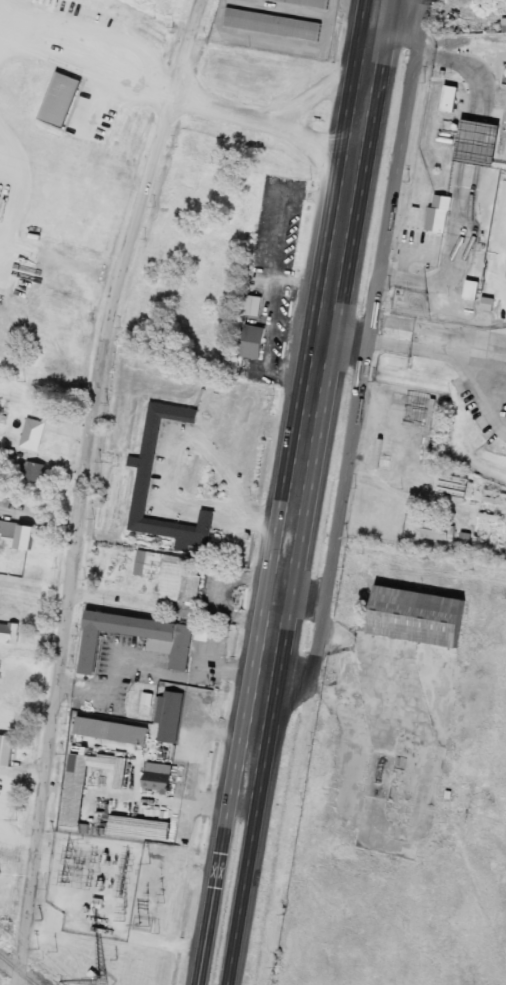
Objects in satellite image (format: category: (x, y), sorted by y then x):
building: (307, 3)
building: (272, 25)
building: (448, 99)
building: (59, 100)
building: (477, 145)
building: (439, 211)
building: (470, 290)
building: (487, 304)
building: (252, 306)
building: (251, 342)
road: (363, 363)
building: (32, 435)
building: (34, 473)
road: (83, 486)
building: (142, 487)
road: (284, 492)
road: (313, 492)
building: (438, 532)
building: (16, 536)
building: (169, 577)
building: (415, 617)
building: (7, 632)
building: (170, 642)
building: (169, 717)
building: (110, 732)
building: (6, 751)
building: (156, 778)
building: (72, 808)
building: (139, 828)
power substation: (94, 884)
power tower: (143, 923)
railway: (19, 968)

